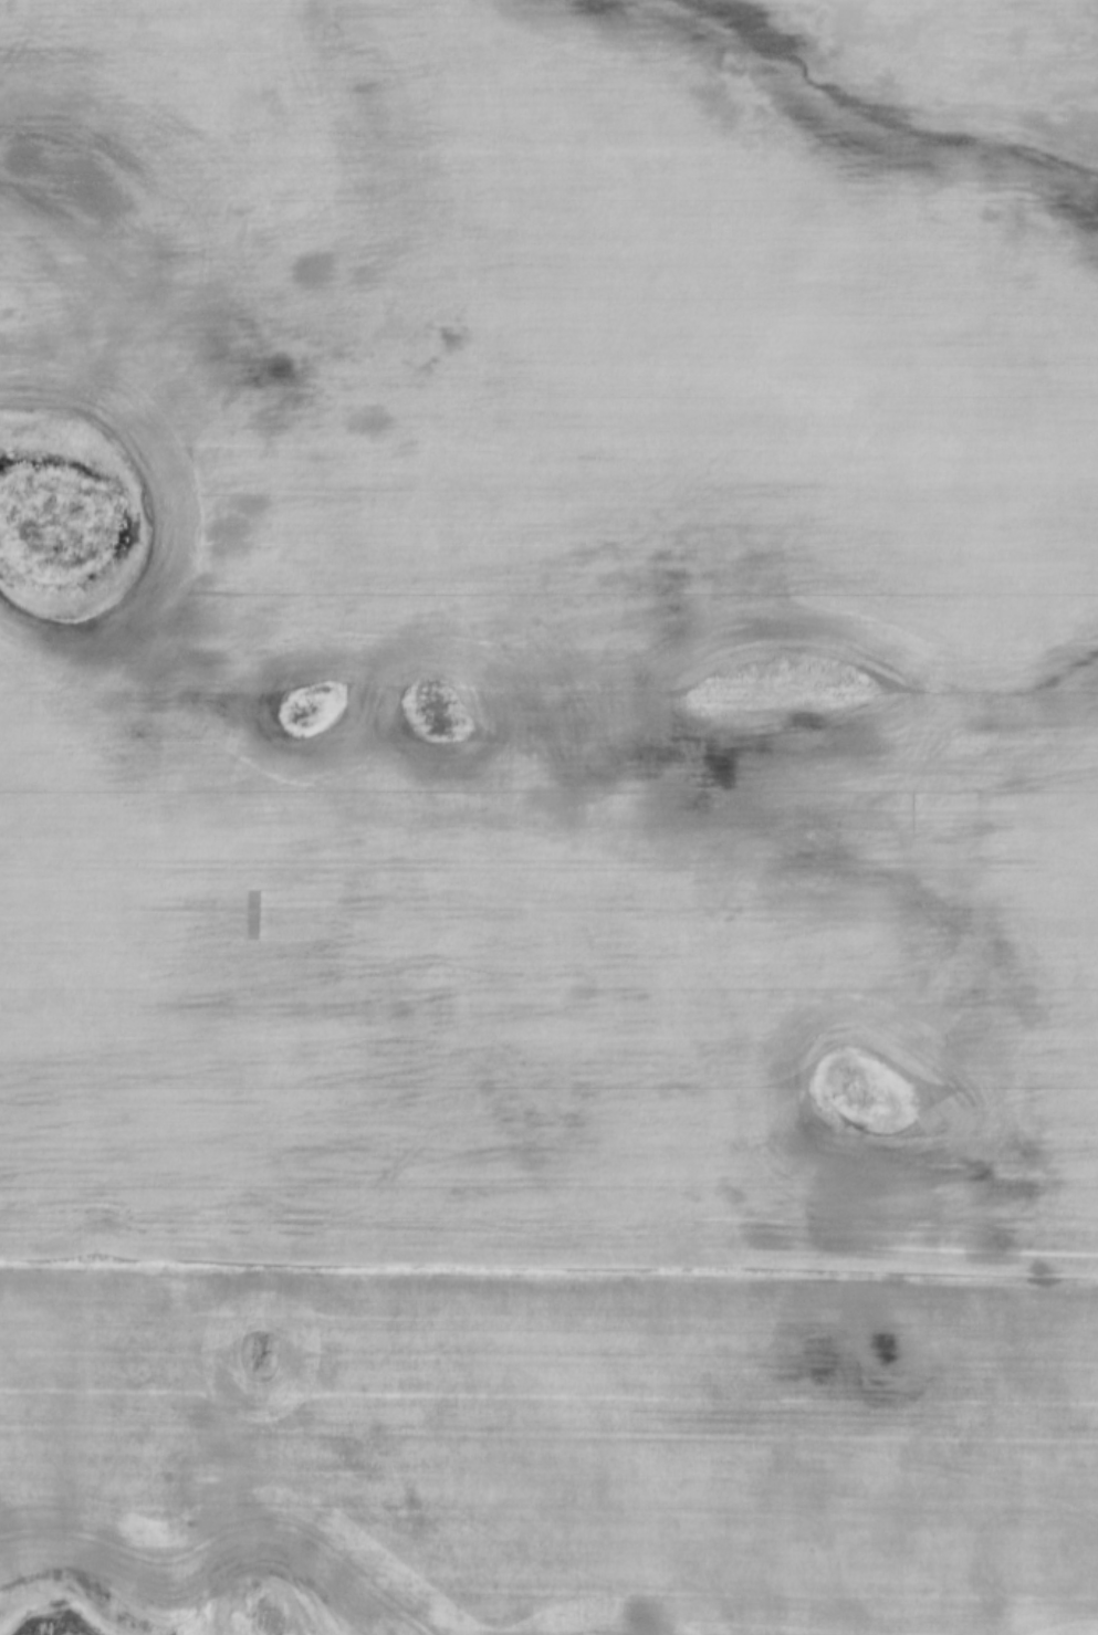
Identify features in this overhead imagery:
road: (548, 1271)

